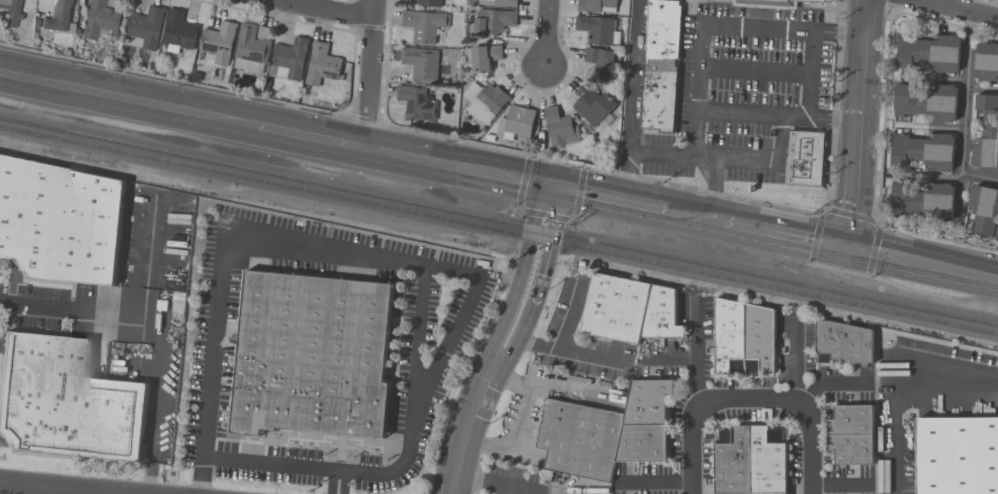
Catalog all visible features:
building: (432, 3)
building: (497, 3)
building: (773, 3)
building: (597, 7)
road: (327, 8)
road: (959, 8)
building: (12, 12)
building: (59, 18)
building: (101, 20)
building: (493, 22)
road: (738, 23)
building: (423, 26)
building: (146, 27)
building: (597, 31)
building: (178, 33)
road: (545, 33)
building: (218, 43)
building: (252, 48)
road: (862, 51)
building: (929, 54)
building: (482, 58)
building: (290, 60)
building: (986, 62)
building: (601, 63)
road: (634, 63)
building: (422, 64)
building: (322, 65)
building: (660, 65)
road: (755, 72)
road: (811, 72)
road: (367, 74)
road: (967, 92)
road: (128, 100)
building: (485, 102)
building: (924, 103)
building: (416, 104)
building: (592, 104)
road: (819, 117)
road: (779, 121)
building: (516, 124)
building: (559, 128)
building: (986, 133)
road: (310, 137)
building: (798, 138)
road: (457, 139)
building: (815, 140)
building: (923, 152)
building: (805, 154)
road: (661, 155)
road: (628, 164)
road: (457, 168)
road: (881, 172)
building: (804, 173)
road: (855, 174)
road: (924, 176)
road: (979, 176)
road: (523, 181)
traffic signals: (552, 188)
road: (579, 192)
road: (586, 195)
building: (922, 200)
road: (645, 207)
road: (518, 209)
building: (984, 211)
road: (545, 215)
road: (851, 215)
road: (695, 217)
road: (572, 219)
building: (61, 221)
railway: (499, 222)
railway: (499, 231)
road: (784, 234)
road: (815, 237)
road: (540, 245)
traffic signals: (847, 246)
road: (873, 250)
road: (413, 262)
road: (922, 262)
road: (884, 280)
building: (130, 307)
building: (630, 310)
road: (464, 313)
road: (130, 314)
building: (743, 339)
building: (844, 344)
road: (141, 345)
road: (565, 352)
road: (696, 352)
building: (312, 355)
road: (794, 361)
road: (537, 382)
road: (554, 385)
road: (478, 393)
road: (904, 399)
building: (66, 402)
road: (751, 404)
road: (157, 415)
road: (513, 416)
building: (605, 432)
building: (850, 436)
building: (958, 454)
building: (750, 461)
road: (200, 475)
road: (484, 481)
road: (337, 483)
road: (656, 483)
road: (51, 489)
road: (533, 489)
road: (71, 492)

